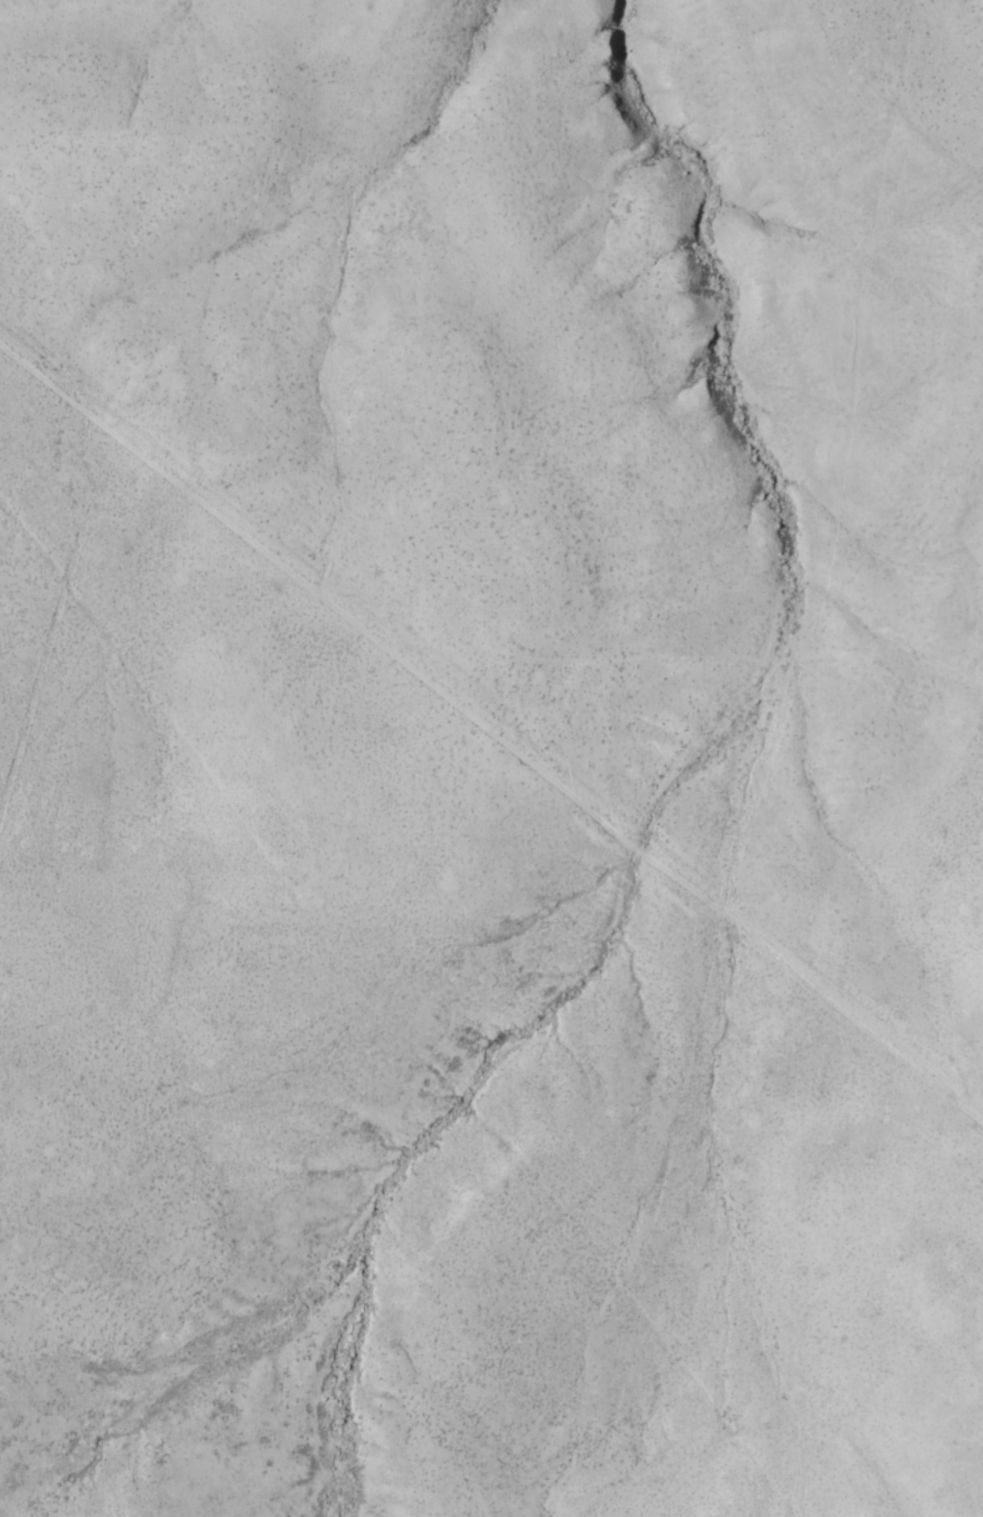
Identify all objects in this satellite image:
road: (491, 739)

